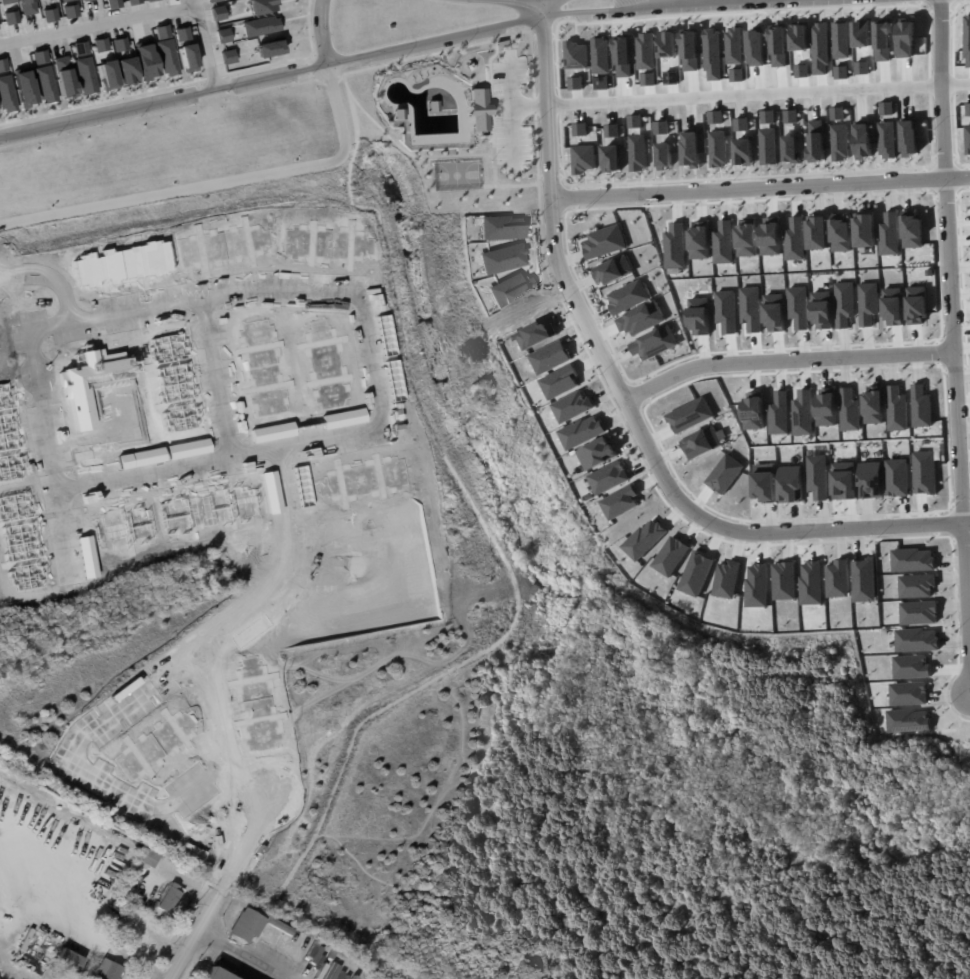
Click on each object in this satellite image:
building: (65, 0)
building: (148, 0)
building: (212, 0)
building: (7, 1)
building: (133, 1)
building: (113, 3)
building: (262, 5)
building: (29, 6)
building: (70, 10)
building: (217, 12)
building: (49, 14)
building: (10, 17)
road: (96, 24)
building: (259, 25)
building: (163, 29)
building: (182, 32)
road: (319, 32)
building: (865, 34)
building: (223, 35)
building: (909, 40)
building: (842, 41)
building: (885, 42)
building: (120, 43)
building: (100, 44)
road: (202, 44)
building: (80, 48)
building: (268, 48)
building: (600, 55)
building: (40, 56)
building: (227, 56)
building: (188, 57)
building: (576, 57)
building: (145, 61)
building: (3, 64)
road: (324, 65)
building: (864, 68)
building: (126, 70)
building: (801, 70)
building: (843, 73)
building: (86, 74)
building: (107, 74)
building: (737, 75)
building: (63, 76)
building: (45, 83)
building: (576, 83)
building: (601, 83)
building: (24, 88)
building: (6, 94)
road: (757, 94)
road: (527, 106)
road: (510, 107)
building: (886, 108)
building: (478, 109)
building: (968, 109)
building: (396, 112)
building: (836, 113)
building: (715, 116)
building: (790, 116)
building: (767, 117)
park: (456, 121)
building: (635, 121)
building: (741, 124)
building: (661, 127)
building: (579, 129)
building: (612, 131)
building: (909, 138)
building: (967, 138)
building: (817, 140)
building: (887, 140)
building: (863, 141)
building: (839, 143)
building: (768, 146)
building: (717, 149)
building: (791, 149)
building: (691, 150)
building: (743, 152)
building: (637, 153)
building: (664, 156)
building: (584, 158)
building: (612, 158)
park: (455, 174)
road: (215, 182)
road: (760, 187)
road: (588, 204)
building: (912, 228)
building: (864, 231)
building: (841, 232)
building: (817, 233)
building: (889, 234)
building: (770, 236)
building: (747, 238)
building: (795, 239)
building: (700, 240)
building: (603, 242)
building: (724, 243)
building: (675, 246)
road: (957, 260)
building: (612, 271)
road: (56, 281)
building: (628, 297)
building: (868, 303)
building: (844, 304)
building: (916, 305)
building: (798, 307)
building: (892, 307)
building: (750, 308)
building: (725, 310)
building: (822, 310)
building: (774, 313)
building: (699, 316)
building: (384, 334)
building: (655, 343)
road: (918, 343)
road: (32, 344)
building: (550, 357)
road: (789, 361)
road: (217, 376)
building: (560, 382)
road: (625, 399)
building: (874, 405)
building: (572, 406)
building: (826, 407)
building: (921, 407)
building: (897, 409)
building: (849, 410)
building: (754, 411)
building: (803, 413)
building: (689, 414)
building: (780, 414)
building: (342, 417)
road: (369, 430)
building: (273, 431)
building: (581, 431)
building: (703, 442)
building: (188, 446)
building: (597, 453)
building: (142, 457)
road: (952, 471)
building: (924, 472)
building: (725, 474)
building: (817, 476)
building: (609, 477)
building: (896, 477)
building: (870, 480)
building: (843, 481)
building: (302, 483)
building: (790, 484)
building: (764, 487)
building: (272, 490)
building: (587, 496)
building: (620, 502)
road: (491, 530)
road: (66, 533)
building: (644, 539)
building: (87, 555)
building: (670, 556)
building: (912, 560)
building: (696, 574)
building: (726, 578)
building: (837, 578)
building: (783, 579)
building: (863, 579)
building: (810, 582)
building: (757, 585)
building: (916, 586)
building: (918, 613)
road: (246, 617)
building: (916, 640)
building: (911, 667)
building: (908, 693)
building: (908, 721)
road: (83, 761)
road: (254, 787)
building: (147, 858)
road: (178, 879)
road: (226, 888)
building: (168, 898)
road: (60, 918)
building: (246, 925)
road: (247, 953)
building: (67, 961)
road: (141, 961)
building: (105, 970)
road: (142, 972)
building: (211, 973)

